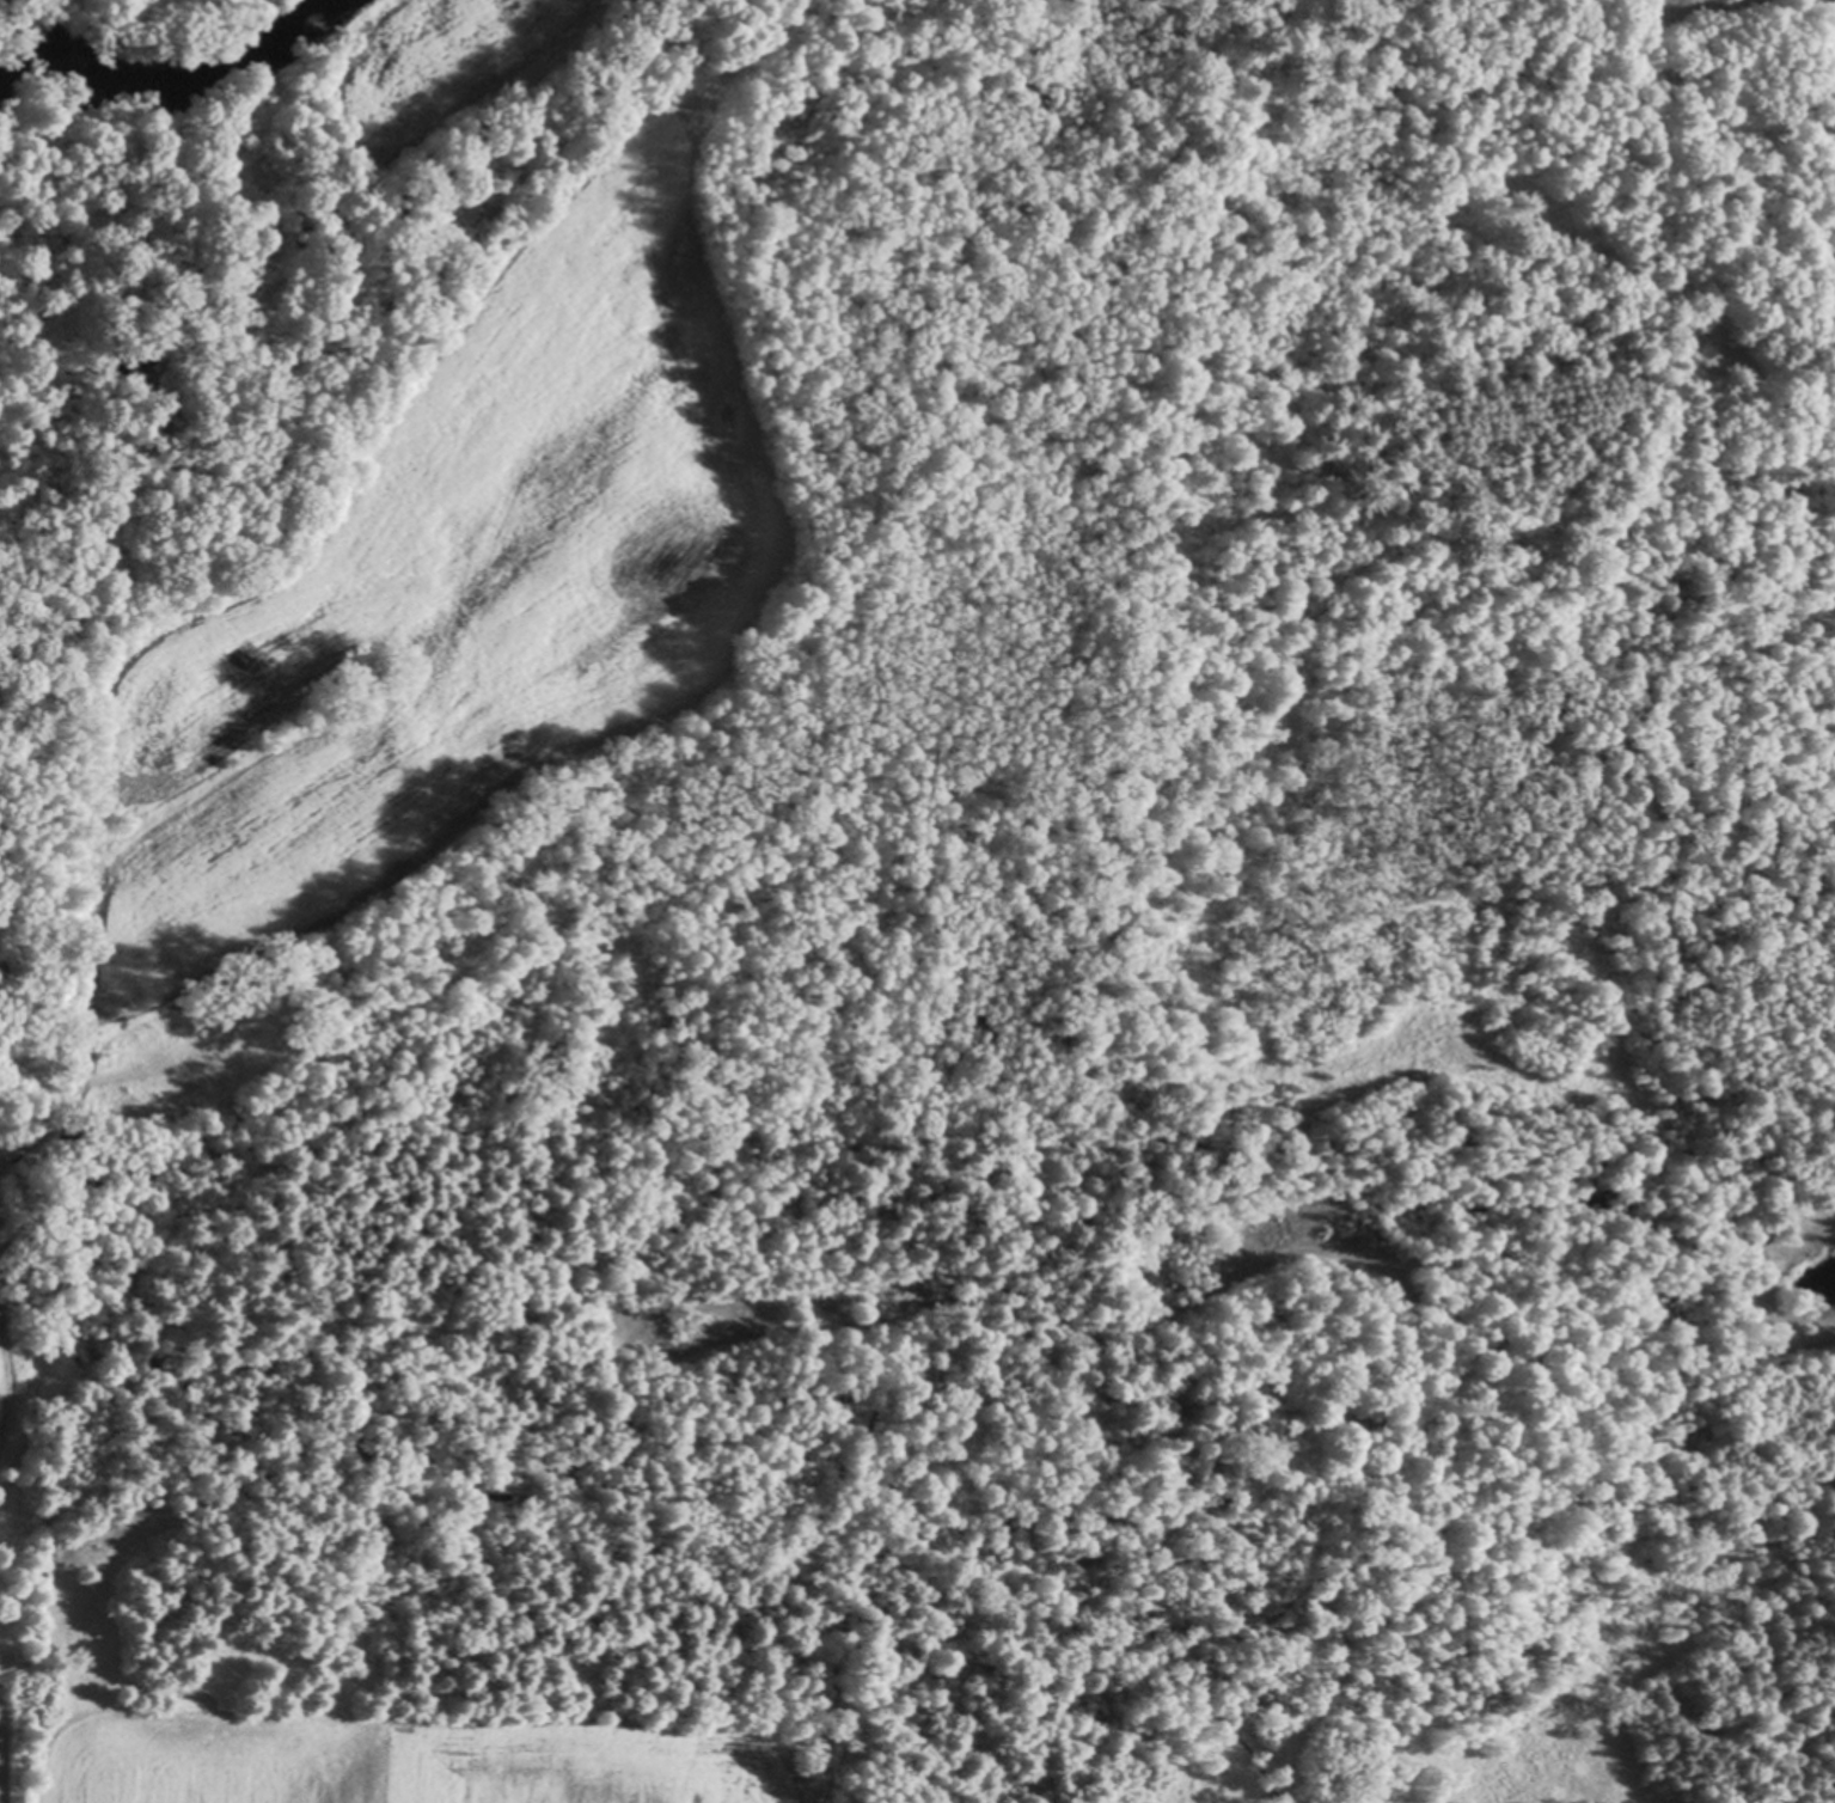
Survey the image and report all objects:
river: (182, 86)

